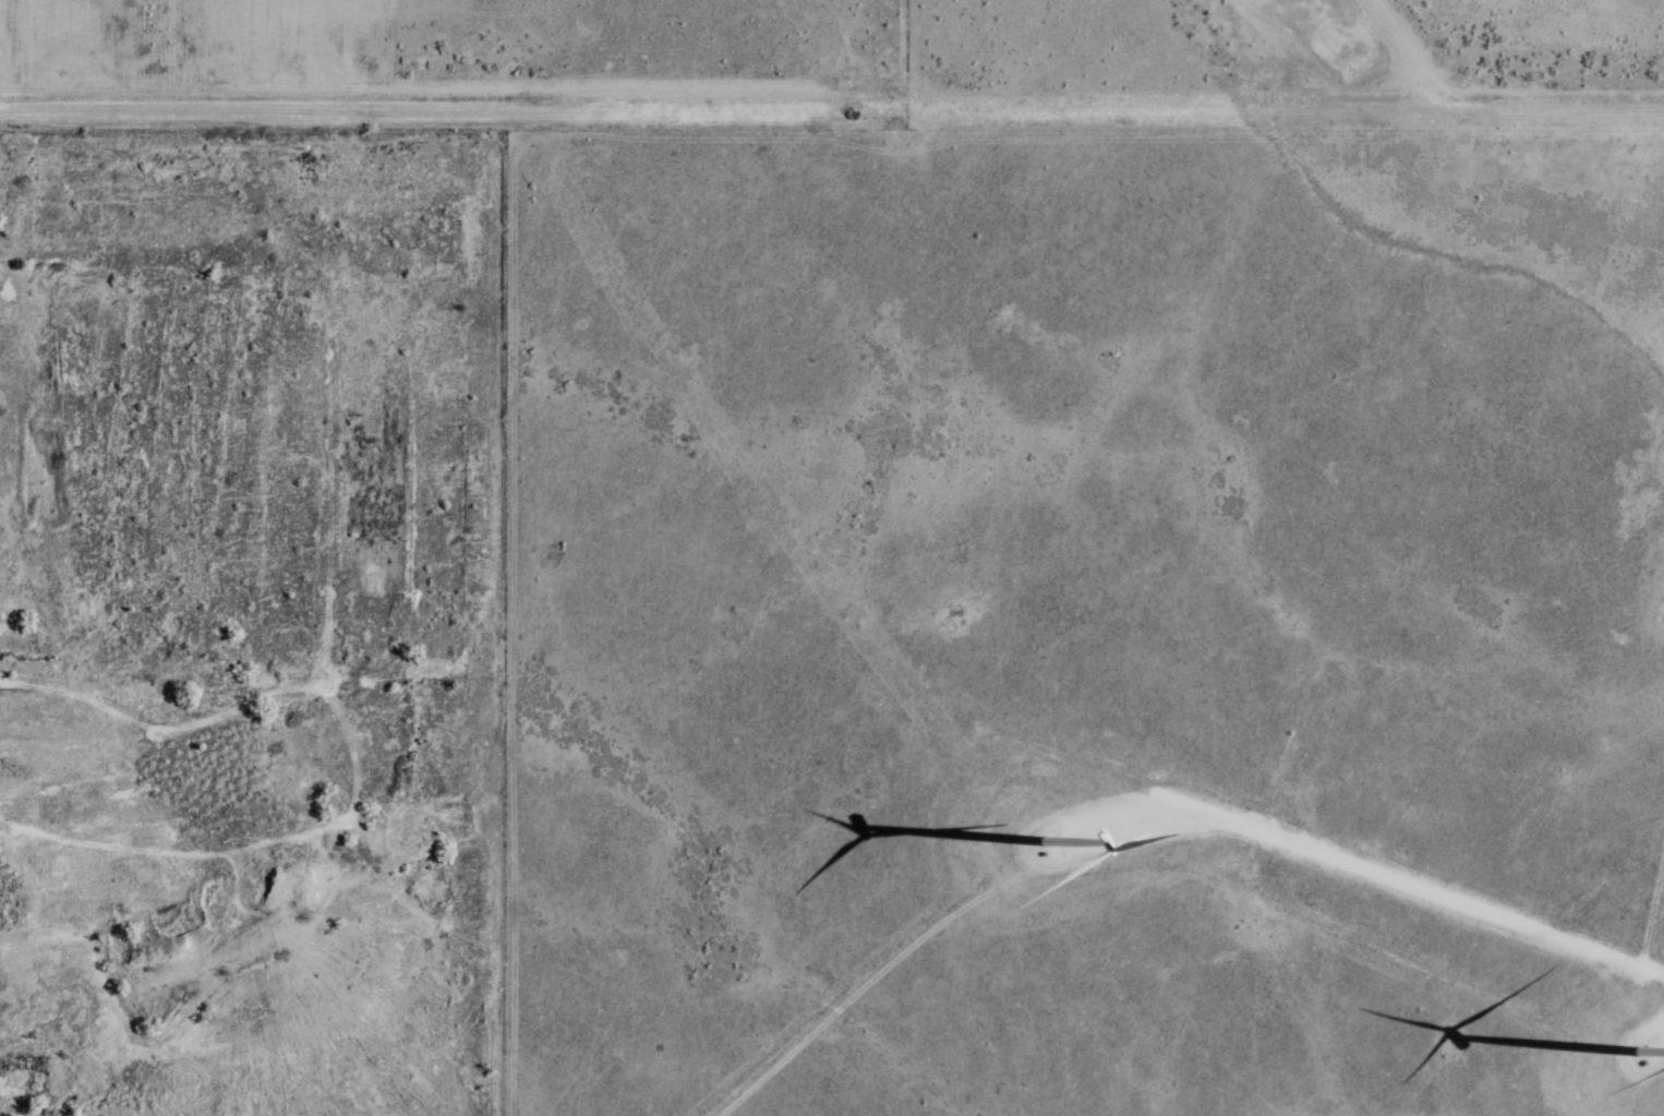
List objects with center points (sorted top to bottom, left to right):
wind turbine: (1034, 845)
road: (1390, 878)
wind turbine: (1643, 1040)

